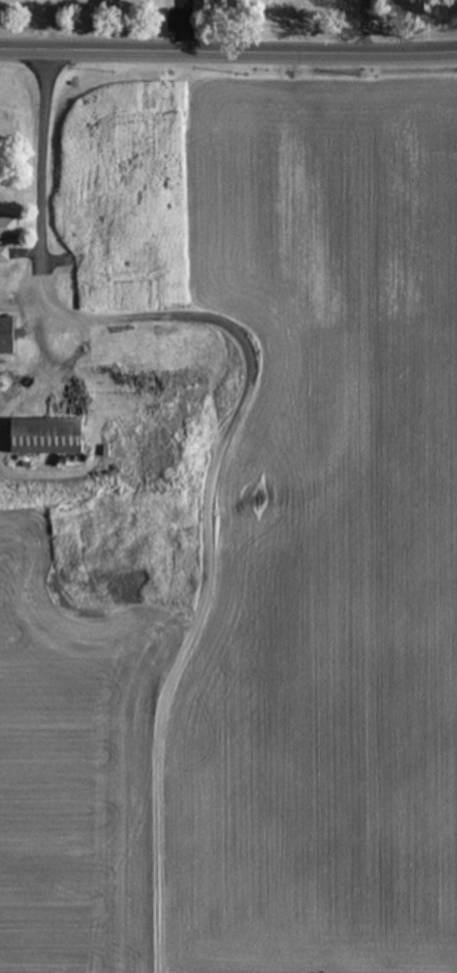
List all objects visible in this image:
road: (200, 53)
road: (428, 54)
building: (4, 228)
building: (68, 231)
building: (1, 255)
building: (4, 336)
building: (141, 362)
building: (42, 421)
road: (235, 421)

